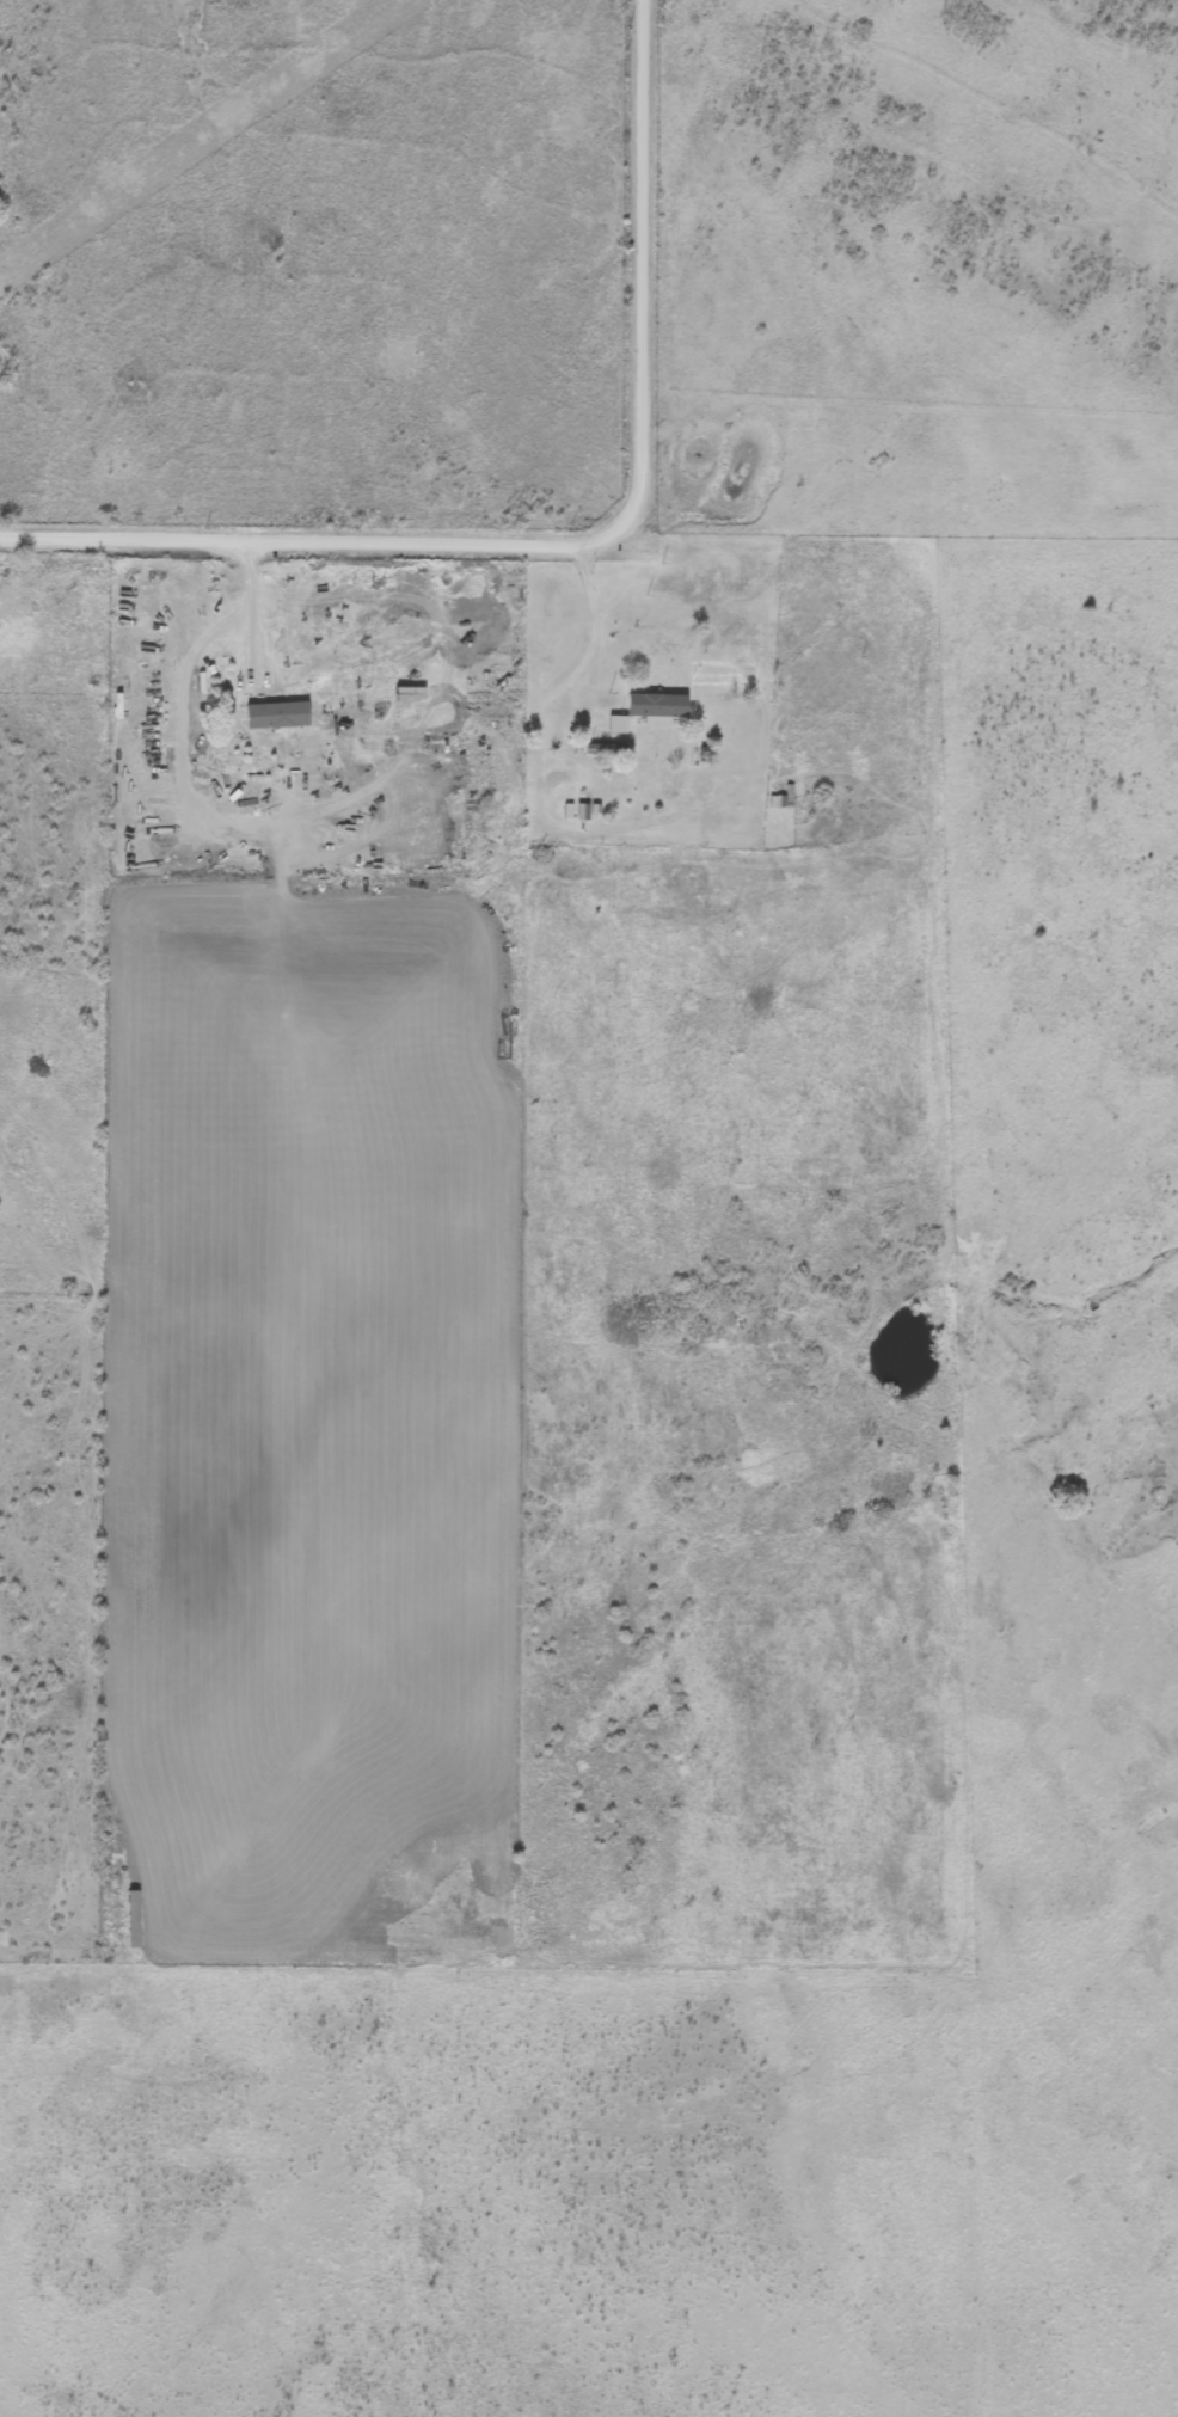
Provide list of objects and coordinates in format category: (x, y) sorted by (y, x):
road: (578, 545)
building: (655, 705)
building: (275, 714)
building: (615, 724)

